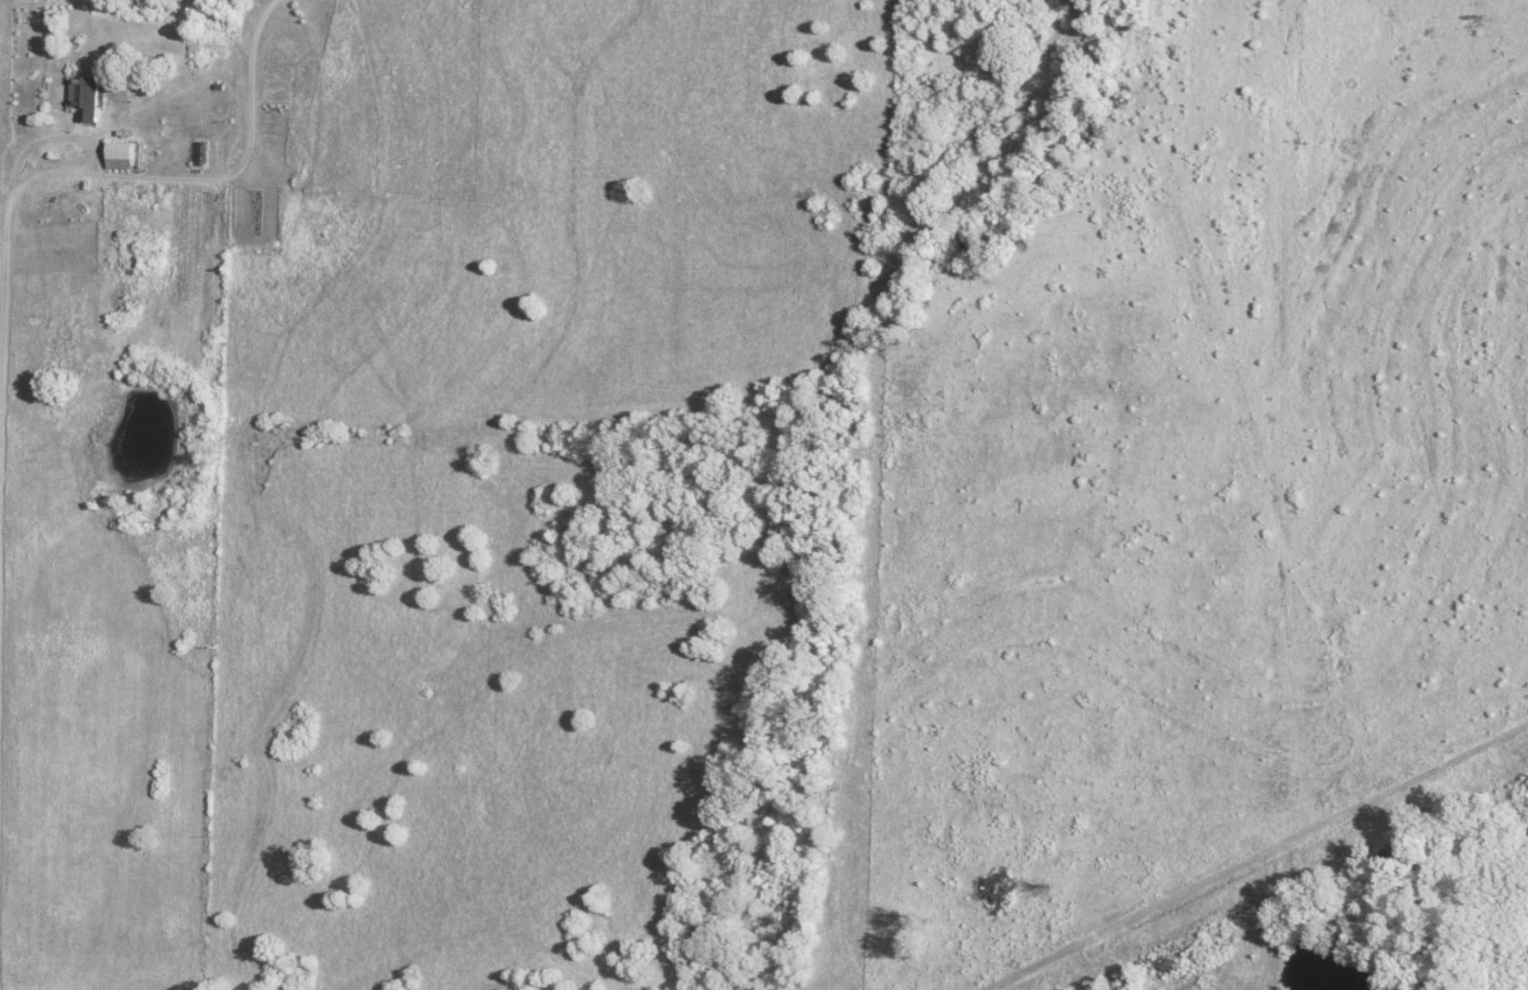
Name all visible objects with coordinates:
building: (88, 96)
road: (81, 146)
building: (127, 154)
road: (249, 167)
road: (3, 334)

